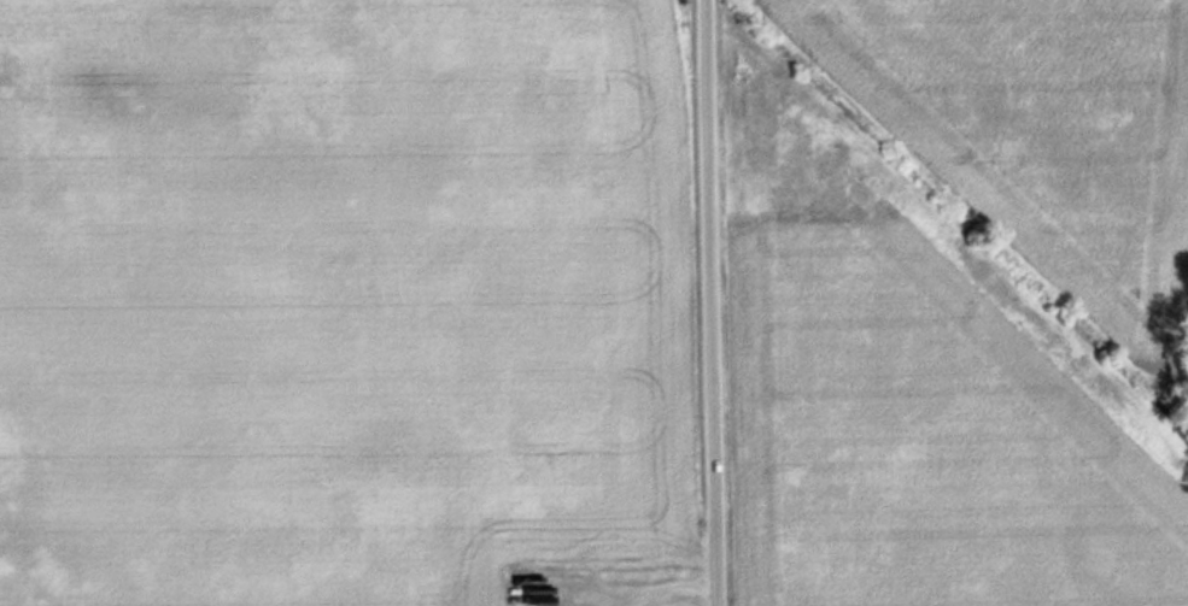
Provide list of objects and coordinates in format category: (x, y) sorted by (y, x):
road: (713, 302)
road: (671, 590)

